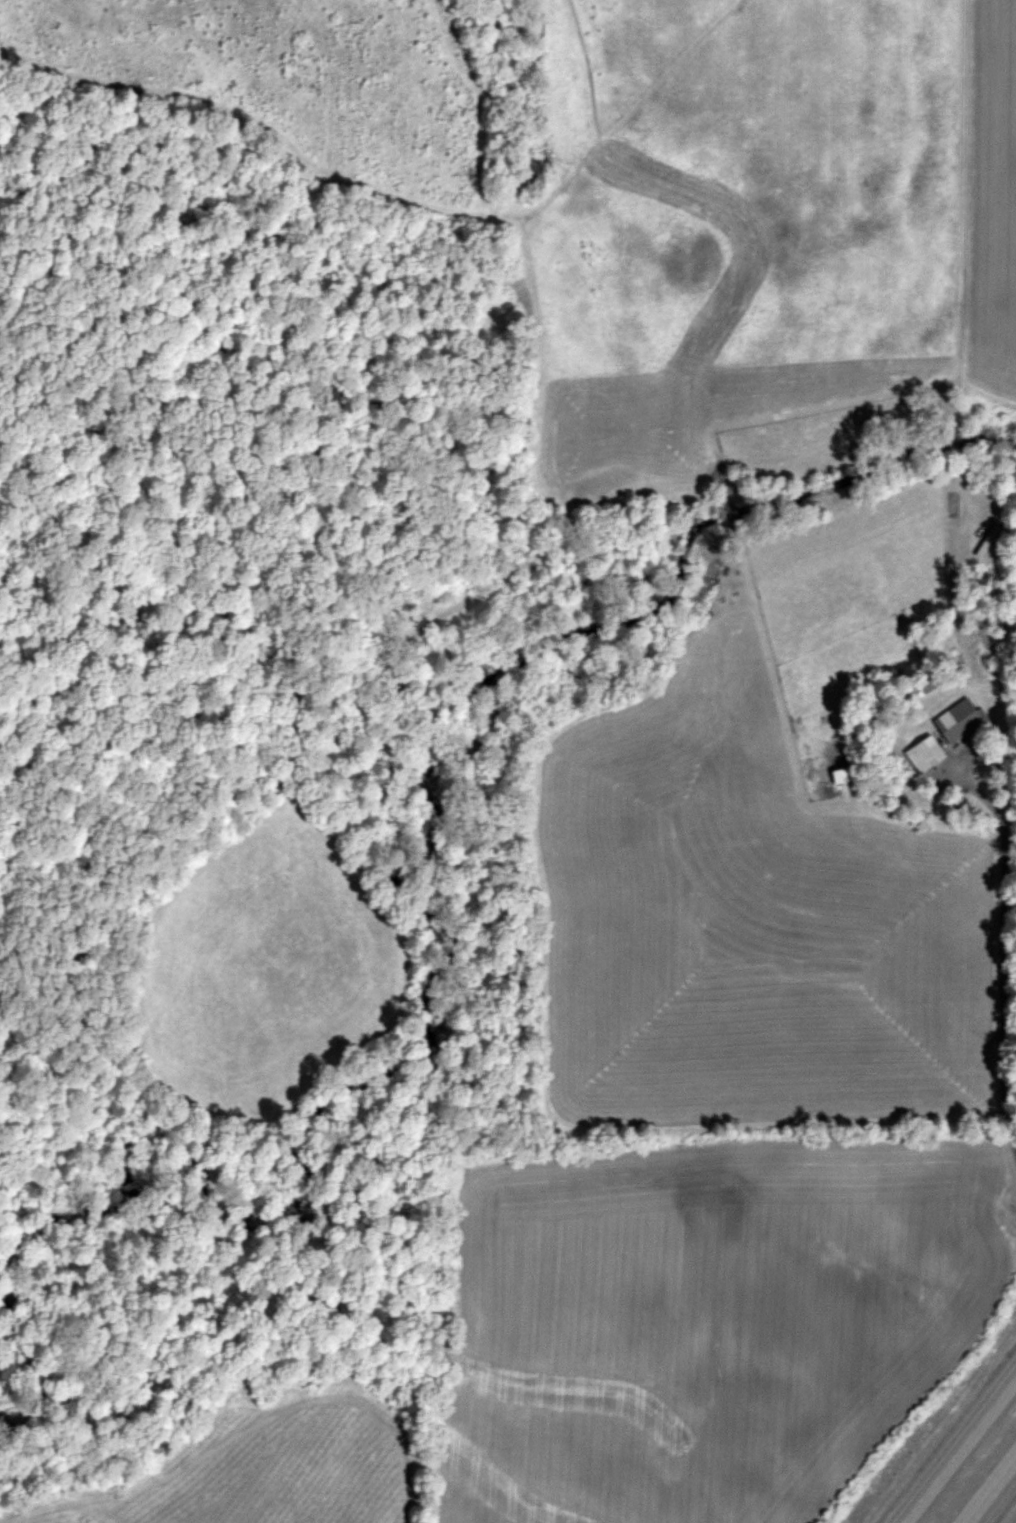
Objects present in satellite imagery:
road: (964, 185)
building: (961, 720)
building: (933, 752)
road: (1002, 960)
road: (952, 1440)
road: (990, 1489)

